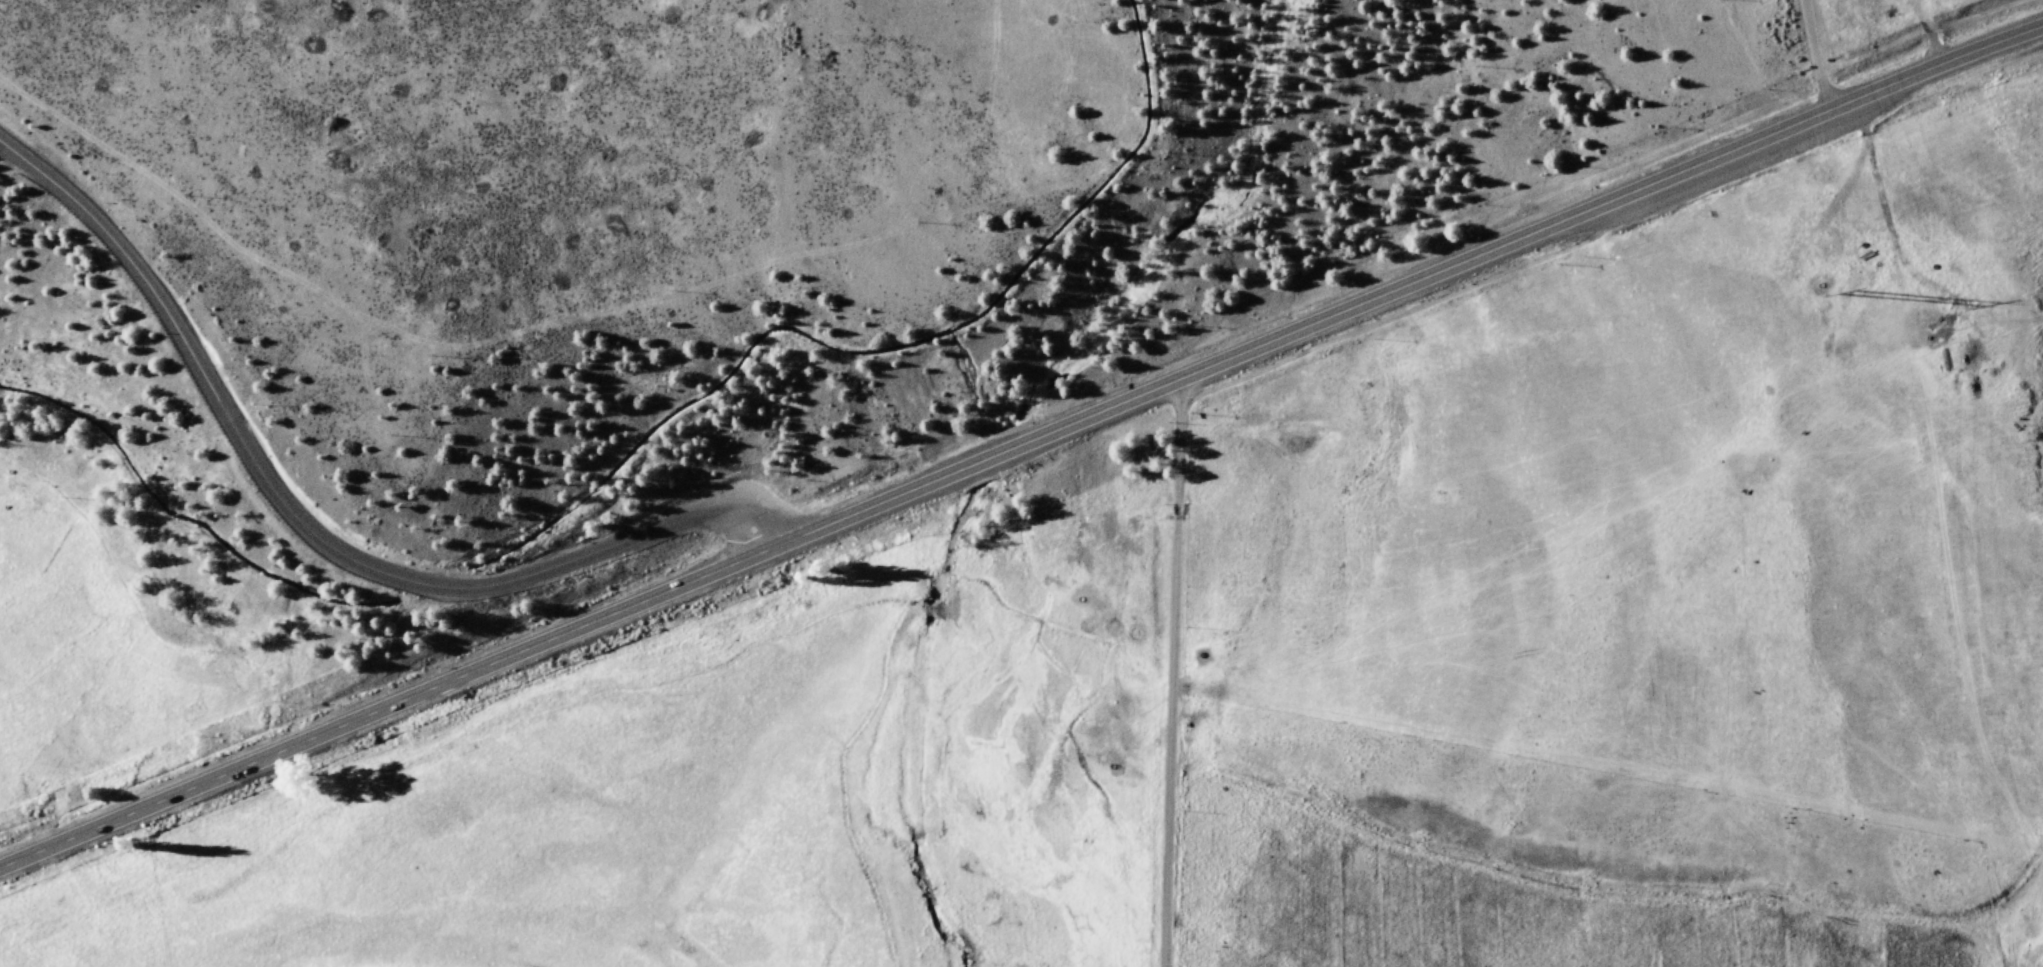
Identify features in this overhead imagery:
power tower: (1855, 294)
road: (1020, 446)
road: (312, 533)
road: (1177, 672)

